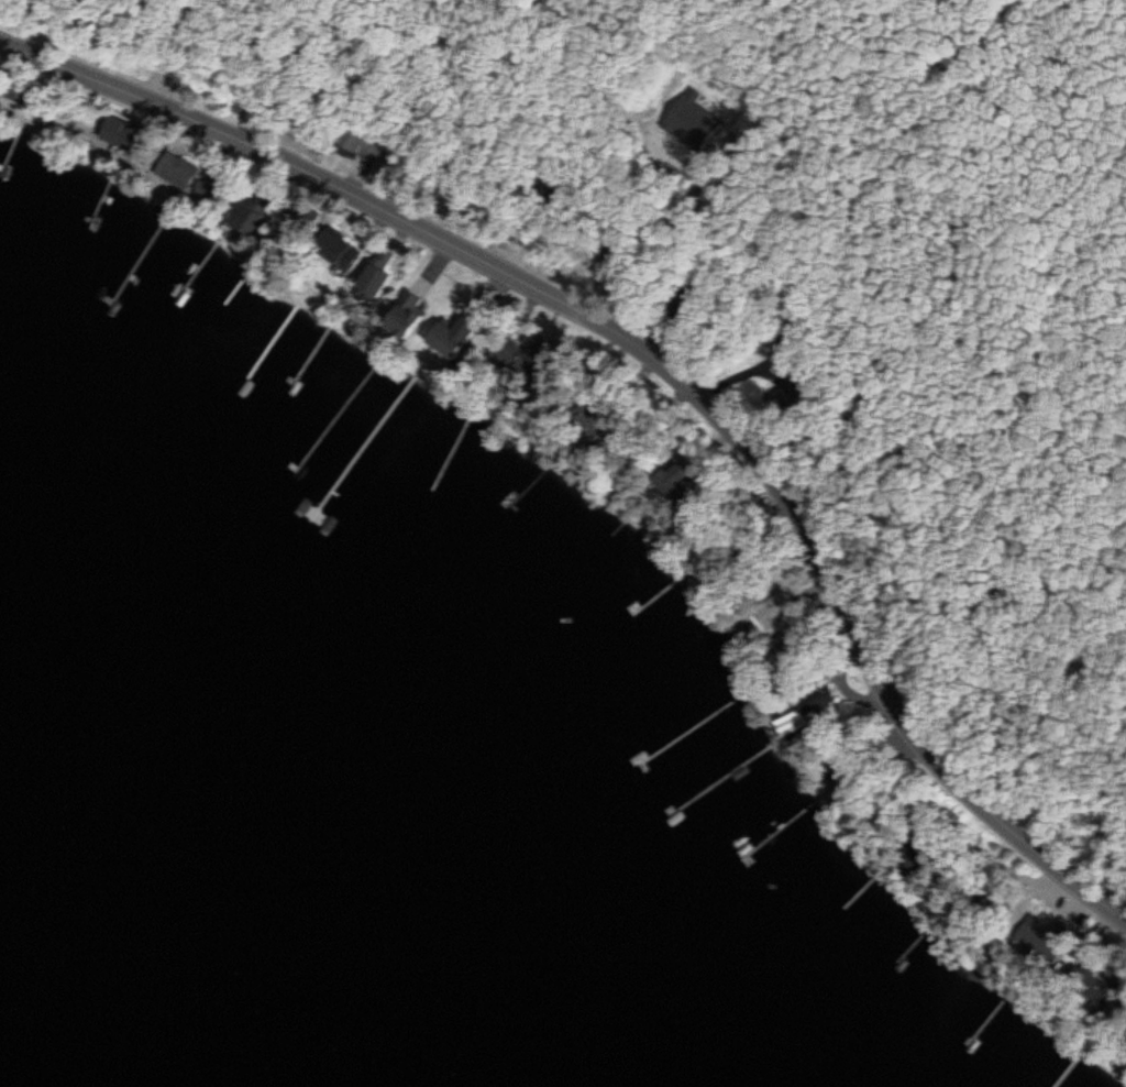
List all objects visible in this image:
building: (347, 140)
building: (176, 173)
building: (301, 219)
building: (244, 222)
building: (338, 251)
building: (374, 283)
building: (406, 316)
building: (445, 345)
road: (663, 362)
building: (777, 612)
building: (787, 663)

